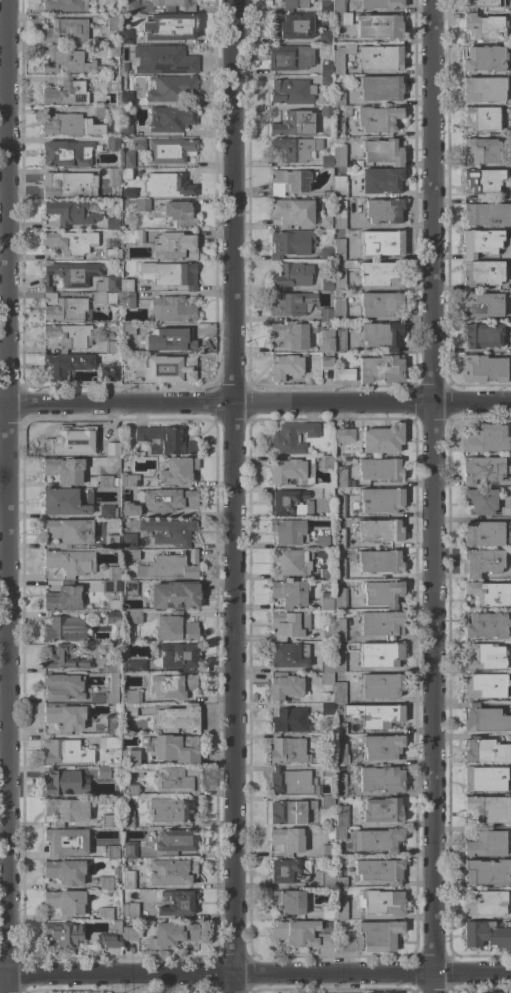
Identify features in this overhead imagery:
building: (381, 4)
building: (480, 4)
building: (64, 5)
building: (293, 5)
building: (136, 6)
building: (338, 6)
building: (325, 7)
building: (341, 19)
building: (112, 21)
building: (169, 26)
building: (291, 26)
building: (379, 27)
building: (484, 27)
building: (66, 30)
building: (125, 36)
building: (325, 37)
building: (113, 51)
building: (290, 57)
building: (341, 57)
building: (380, 58)
building: (484, 59)
building: (163, 60)
building: (67, 61)
building: (124, 67)
building: (326, 68)
building: (326, 79)
building: (112, 83)
building: (170, 88)
building: (380, 88)
building: (483, 89)
building: (66, 92)
building: (291, 92)
building: (338, 94)
building: (126, 99)
building: (326, 111)
building: (347, 111)
building: (98, 112)
building: (170, 118)
building: (480, 118)
building: (377, 119)
building: (294, 124)
building: (70, 125)
building: (125, 127)
building: (338, 127)
building: (138, 143)
building: (112, 144)
building: (296, 148)
building: (169, 150)
building: (481, 150)
building: (382, 151)
building: (66, 154)
building: (338, 155)
building: (126, 159)
building: (326, 161)
building: (126, 173)
building: (381, 180)
building: (482, 180)
building: (114, 181)
building: (287, 182)
building: (68, 185)
building: (168, 185)
building: (339, 186)
building: (129, 192)
building: (326, 195)
road: (431, 200)
road: (6, 201)
road: (234, 202)
building: (142, 205)
building: (383, 210)
building: (292, 212)
building: (70, 213)
building: (178, 213)
building: (484, 213)
building: (339, 215)
building: (326, 222)
building: (112, 224)
building: (132, 236)
building: (70, 242)
building: (382, 242)
building: (481, 242)
building: (291, 243)
building: (175, 246)
building: (338, 249)
building: (109, 254)
building: (325, 254)
building: (380, 273)
building: (481, 273)
building: (72, 274)
building: (169, 274)
building: (292, 275)
building: (338, 280)
building: (108, 284)
building: (126, 285)
building: (326, 285)
building: (109, 298)
building: (127, 300)
building: (290, 303)
building: (381, 304)
building: (482, 305)
building: (67, 309)
building: (171, 309)
building: (338, 310)
building: (325, 315)
building: (132, 329)
building: (290, 335)
building: (381, 335)
building: (482, 335)
building: (69, 336)
building: (171, 338)
building: (326, 340)
building: (339, 341)
building: (111, 347)
building: (510, 350)
building: (326, 363)
building: (66, 365)
building: (284, 367)
building: (164, 368)
building: (381, 369)
building: (483, 369)
building: (109, 373)
building: (343, 374)
road: (255, 405)
building: (112, 433)
building: (343, 435)
building: (292, 436)
building: (382, 439)
building: (486, 439)
building: (165, 440)
building: (62, 441)
building: (99, 448)
building: (336, 459)
building: (324, 461)
building: (379, 469)
building: (482, 469)
building: (63, 470)
building: (175, 471)
building: (286, 471)
building: (340, 476)
building: (128, 480)
building: (105, 481)
building: (116, 481)
building: (326, 492)
building: (169, 499)
building: (381, 500)
building: (480, 500)
building: (64, 501)
building: (289, 503)
building: (340, 506)
building: (107, 511)
building: (129, 511)
building: (379, 530)
building: (169, 531)
building: (287, 531)
building: (68, 532)
building: (484, 534)
building: (338, 538)
building: (129, 540)
building: (321, 542)
building: (122, 554)
building: (131, 554)
building: (379, 561)
building: (70, 562)
building: (480, 562)
building: (291, 563)
building: (168, 567)
building: (339, 569)
building: (510, 572)
building: (113, 573)
building: (324, 574)
building: (110, 586)
building: (130, 587)
building: (289, 592)
building: (382, 593)
building: (487, 593)
building: (174, 595)
building: (63, 598)
building: (339, 598)
building: (325, 601)
building: (110, 617)
building: (134, 617)
building: (382, 623)
building: (289, 624)
building: (486, 625)
building: (174, 628)
building: (65, 629)
building: (338, 629)
building: (326, 633)
building: (288, 655)
building: (380, 655)
building: (178, 656)
building: (484, 656)
building: (65, 658)
building: (339, 661)
building: (111, 666)
building: (133, 666)
building: (326, 666)
building: (325, 679)
building: (381, 685)
building: (484, 685)
building: (170, 686)
building: (284, 686)
building: (63, 687)
building: (111, 689)
building: (339, 692)
road: (433, 696)
road: (7, 697)
building: (96, 697)
road: (236, 699)
building: (131, 701)
building: (327, 708)
building: (373, 715)
building: (65, 716)
building: (484, 719)
building: (176, 720)
building: (290, 720)
building: (113, 721)
building: (337, 728)
building: (109, 742)
building: (381, 746)
building: (170, 747)
building: (287, 750)
building: (485, 751)
building: (65, 752)
building: (340, 754)
building: (132, 757)
building: (326, 770)
building: (103, 772)
building: (484, 778)
building: (382, 779)
building: (177, 780)
building: (290, 781)
building: (63, 783)
building: (339, 784)
building: (129, 789)
building: (327, 801)
building: (171, 809)
building: (487, 809)
building: (59, 810)
building: (382, 810)
building: (290, 812)
building: (510, 814)
building: (342, 816)
building: (127, 819)
building: (107, 821)
building: (339, 833)
building: (287, 840)
building: (378, 840)
building: (175, 841)
building: (64, 843)
building: (485, 844)
building: (129, 849)
building: (105, 850)
building: (326, 851)
building: (379, 870)
building: (64, 871)
building: (285, 871)
building: (170, 872)
building: (486, 872)
building: (109, 879)
building: (127, 880)
building: (327, 880)
building: (340, 882)
building: (290, 901)
building: (381, 902)
building: (484, 902)
building: (64, 903)
building: (178, 903)
building: (340, 908)
building: (130, 911)
building: (327, 912)
building: (105, 914)
building: (63, 933)
building: (129, 933)
building: (172, 934)
building: (300, 934)
building: (378, 934)
building: (487, 934)
building: (110, 937)
building: (344, 945)
building: (140, 947)
road: (255, 977)
building: (362, 992)
building: (499, 992)

